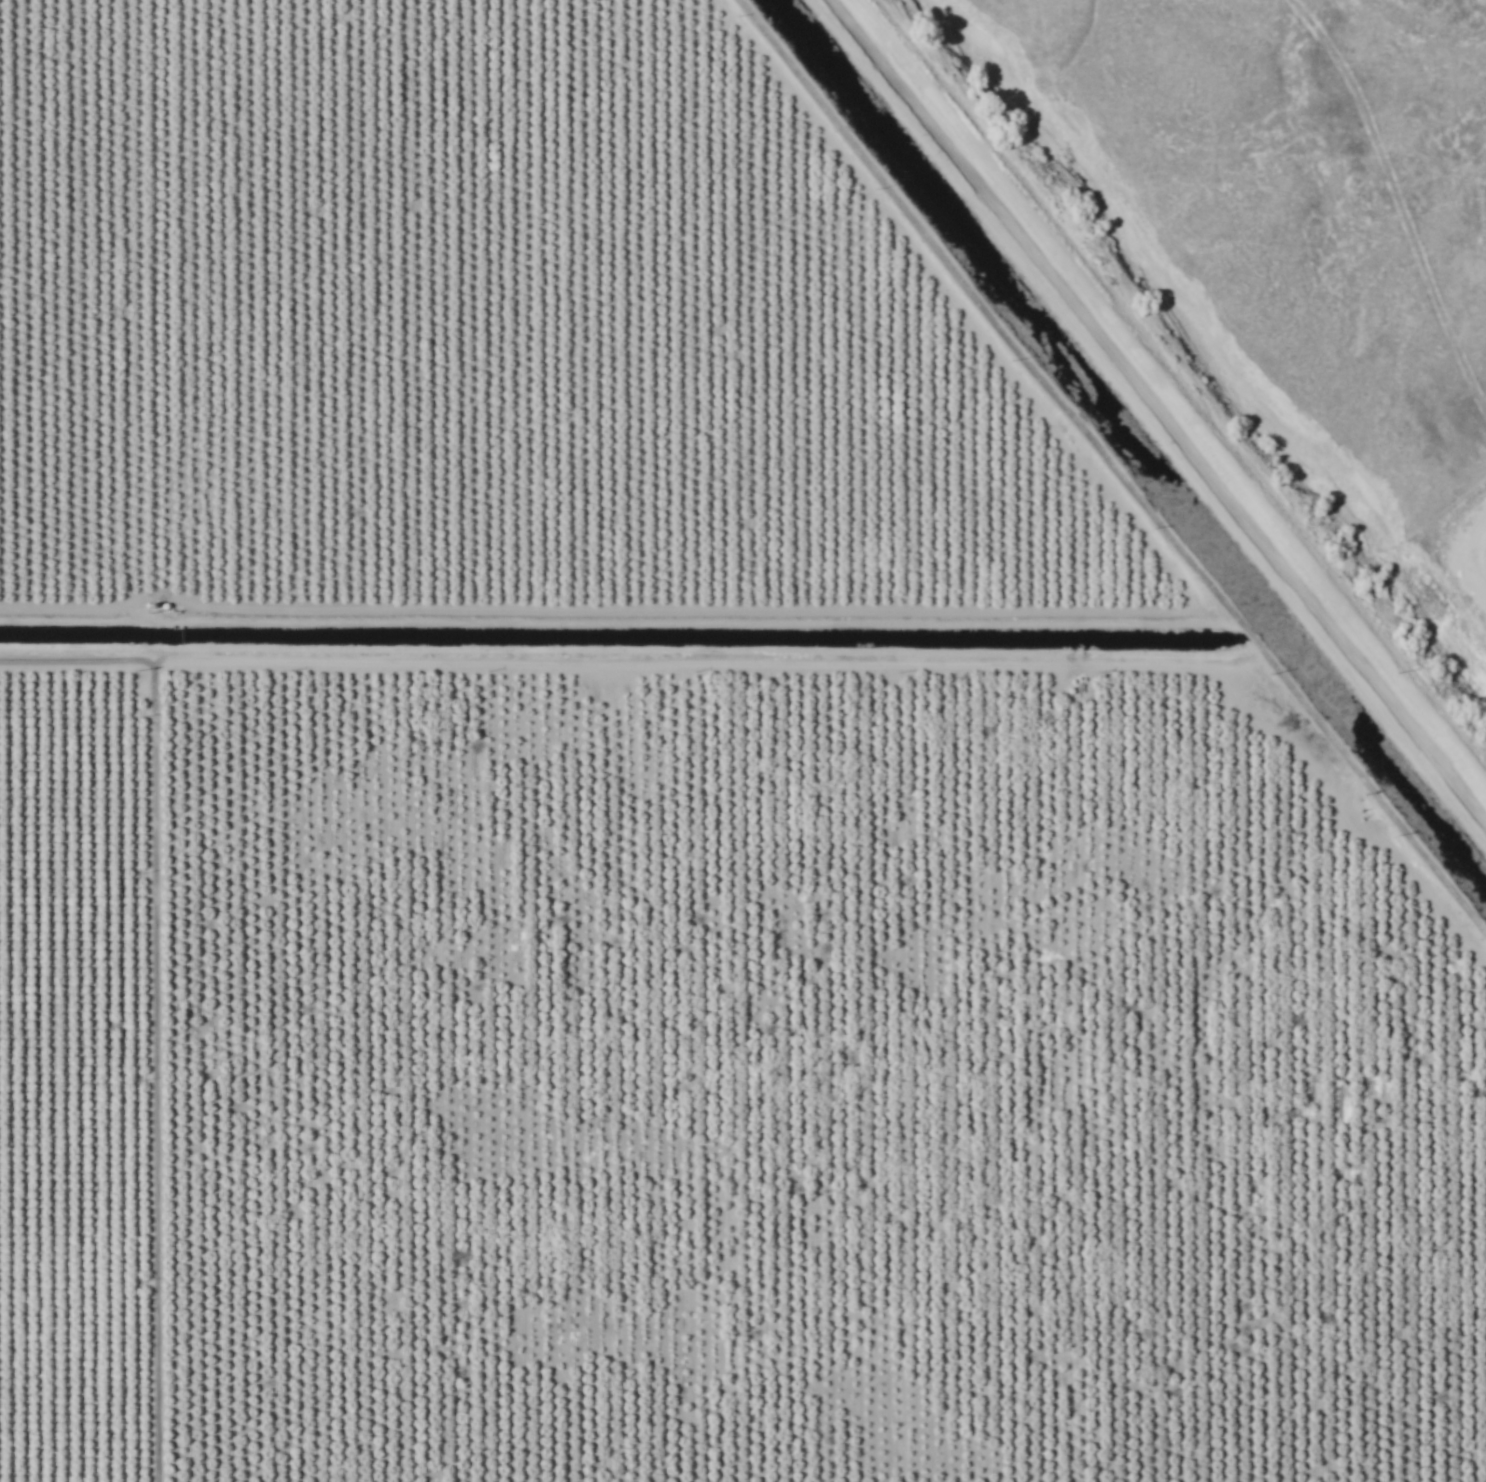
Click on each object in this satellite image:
road: (1158, 407)
road: (1093, 480)
road: (635, 675)
road: (171, 1085)

